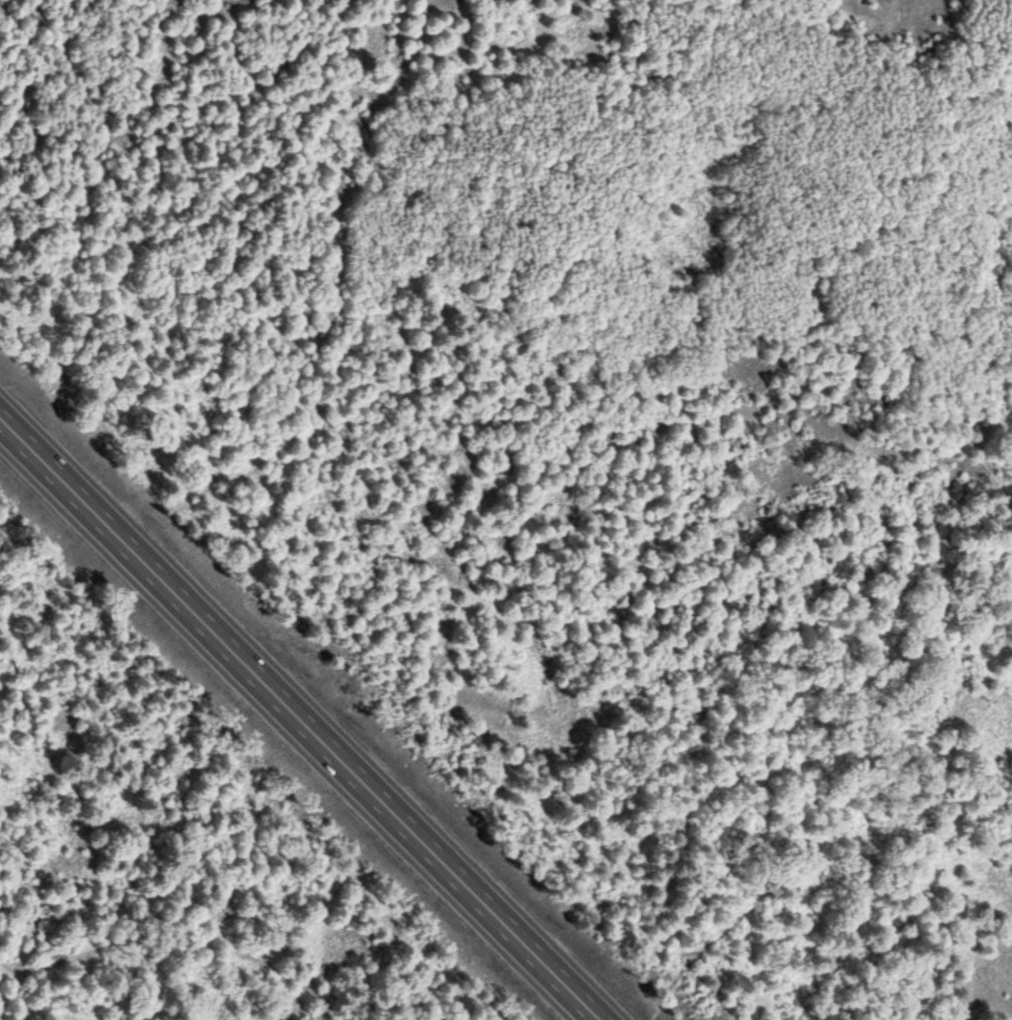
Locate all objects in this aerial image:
road: (102, 524)
road: (403, 823)
building: (542, 932)
road: (178, 944)

